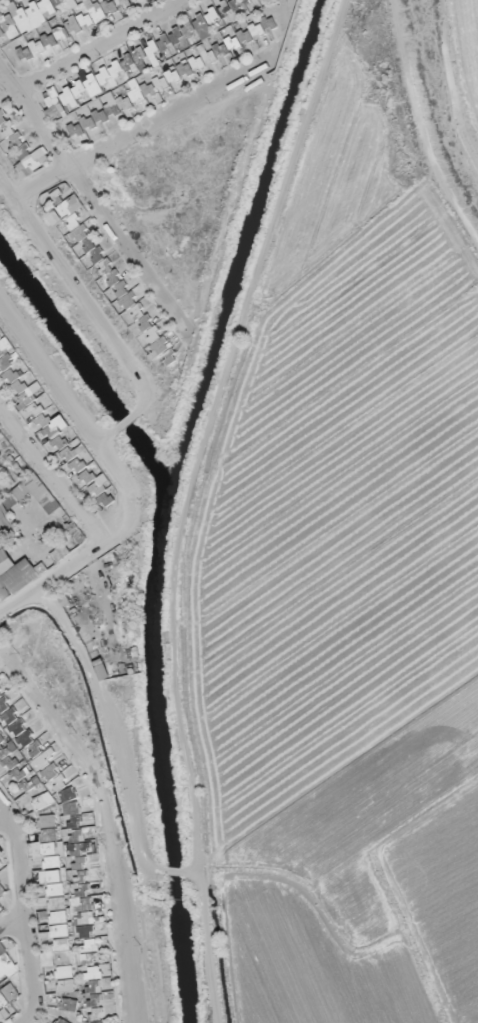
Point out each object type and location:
building: (76, 3)
road: (99, 45)
road: (421, 126)
road: (140, 131)
road: (90, 198)
building: (74, 206)
road: (270, 234)
building: (5, 566)
building: (102, 672)
building: (54, 906)
building: (69, 1009)

